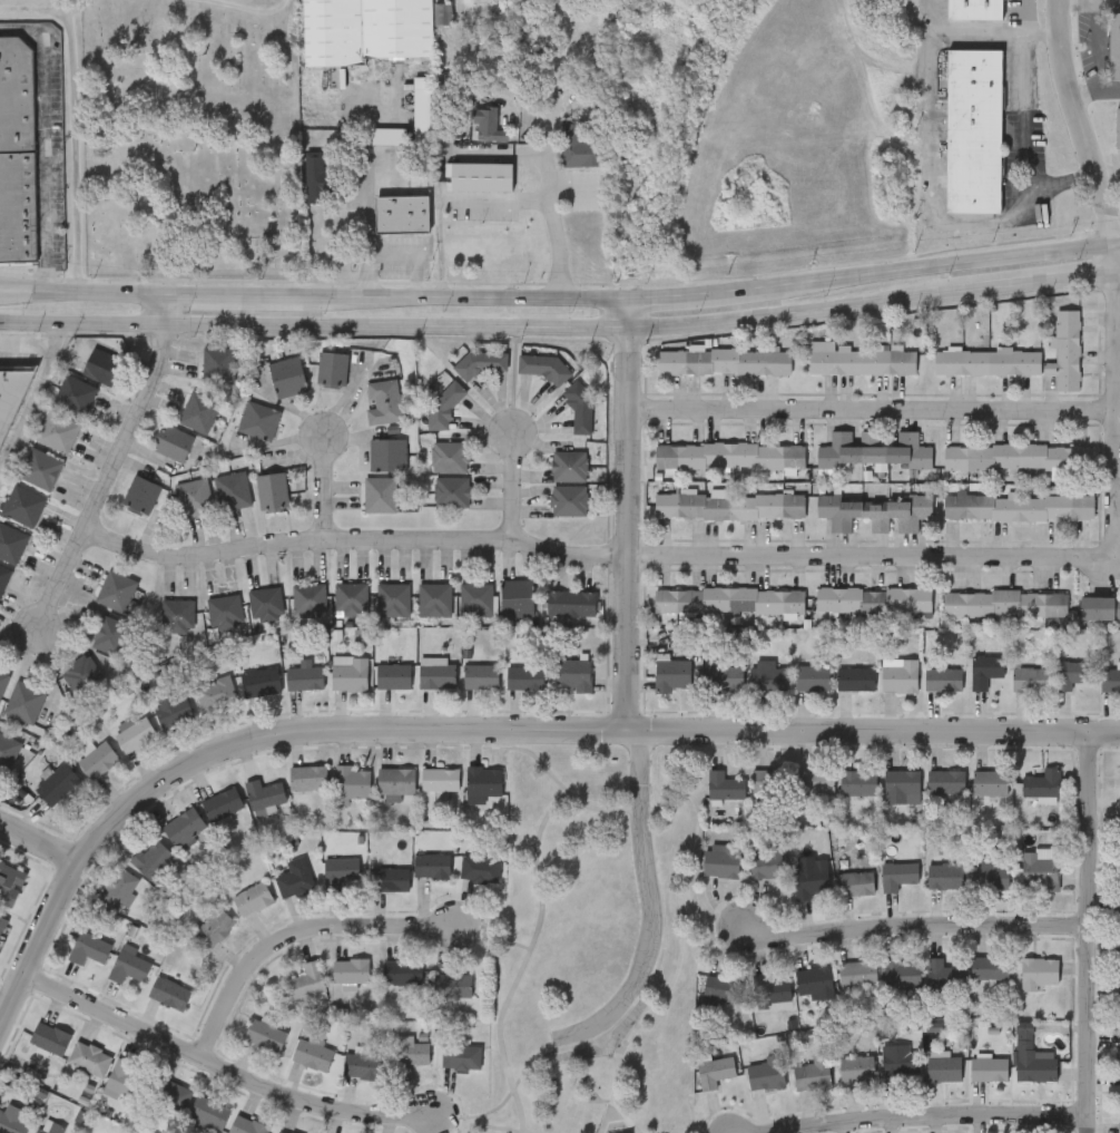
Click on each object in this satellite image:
building: (974, 10)
building: (366, 31)
road: (979, 32)
road: (1042, 32)
building: (1114, 47)
road: (1068, 87)
road: (1024, 120)
building: (489, 125)
building: (1118, 128)
building: (973, 131)
park: (194, 137)
road: (45, 144)
building: (583, 144)
building: (17, 150)
building: (315, 165)
road: (933, 173)
building: (482, 176)
road: (365, 196)
road: (560, 205)
road: (1103, 207)
building: (403, 214)
road: (1116, 243)
road: (1112, 256)
road: (1116, 268)
road: (80, 293)
road: (638, 295)
road: (161, 307)
road: (80, 322)
road: (638, 325)
building: (1021, 355)
building: (858, 359)
building: (724, 360)
building: (475, 362)
building: (217, 363)
building: (540, 364)
building: (100, 365)
building: (330, 368)
building: (285, 375)
road: (33, 393)
building: (72, 394)
building: (10, 399)
building: (382, 400)
building: (442, 406)
building: (197, 411)
road: (868, 411)
building: (256, 419)
building: (56, 430)
building: (173, 441)
building: (872, 449)
building: (385, 453)
building: (729, 453)
building: (1018, 455)
building: (448, 456)
building: (567, 465)
building: (38, 468)
road: (104, 475)
road: (325, 484)
road: (511, 485)
building: (229, 489)
building: (271, 489)
building: (450, 490)
building: (379, 492)
building: (139, 495)
building: (191, 496)
building: (567, 499)
building: (21, 504)
building: (729, 504)
building: (1019, 505)
road: (623, 510)
building: (873, 510)
building: (10, 541)
road: (731, 554)
building: (2, 574)
building: (114, 589)
building: (514, 596)
building: (307, 597)
building: (391, 597)
building: (432, 597)
building: (474, 597)
building: (873, 597)
building: (350, 598)
building: (729, 598)
building: (1004, 602)
building: (263, 603)
building: (569, 603)
building: (1101, 607)
building: (223, 611)
building: (176, 614)
building: (108, 634)
building: (984, 668)
building: (78, 672)
building: (1071, 672)
building: (351, 673)
building: (574, 674)
building: (671, 674)
building: (898, 674)
building: (394, 675)
building: (721, 675)
building: (439, 676)
building: (525, 676)
building: (810, 676)
building: (305, 677)
building: (766, 677)
building: (854, 677)
building: (942, 677)
building: (1029, 677)
building: (2, 678)
building: (1109, 680)
building: (262, 681)
building: (217, 693)
building: (22, 701)
building: (175, 712)
road: (483, 724)
building: (136, 733)
building: (8, 750)
building: (99, 759)
building: (308, 777)
building: (440, 778)
building: (770, 779)
building: (352, 780)
building: (395, 780)
building: (815, 780)
building: (946, 780)
building: (858, 781)
building: (990, 781)
building: (482, 782)
building: (58, 783)
building: (902, 783)
building: (725, 784)
building: (264, 792)
building: (223, 802)
building: (184, 826)
road: (41, 847)
building: (153, 858)
building: (721, 859)
building: (766, 859)
building: (432, 863)
building: (480, 865)
building: (1040, 869)
building: (340, 870)
building: (896, 873)
building: (991, 873)
building: (945, 875)
building: (295, 877)
building: (389, 878)
building: (810, 878)
building: (10, 880)
building: (855, 882)
building: (119, 888)
building: (252, 897)
road: (649, 898)
road: (549, 910)
building: (2, 921)
building: (214, 927)
road: (910, 927)
road: (296, 930)
road: (1085, 930)
park: (598, 945)
building: (89, 947)
building: (1119, 963)
building: (128, 964)
building: (990, 967)
building: (350, 969)
building: (402, 970)
building: (1038, 971)
building: (857, 973)
building: (902, 973)
building: (943, 973)
building: (307, 979)
building: (814, 981)
building: (452, 984)
building: (720, 989)
building: (768, 989)
building: (169, 992)
building: (264, 1034)
building: (50, 1037)
building: (313, 1052)
building: (410, 1052)
building: (461, 1055)
building: (89, 1056)
building: (900, 1061)
building: (1033, 1061)
road: (229, 1064)
building: (363, 1064)
building: (856, 1067)
building: (943, 1067)
building: (989, 1068)
building: (715, 1069)
building: (766, 1072)
building: (813, 1073)
building: (126, 1077)
building: (170, 1094)
road: (626, 1102)
building: (208, 1112)
road: (917, 1116)
building: (12, 1122)
building: (246, 1125)
road: (529, 1126)
road: (540, 1126)
building: (1119, 1126)
building: (49, 1127)
building: (283, 1132)

